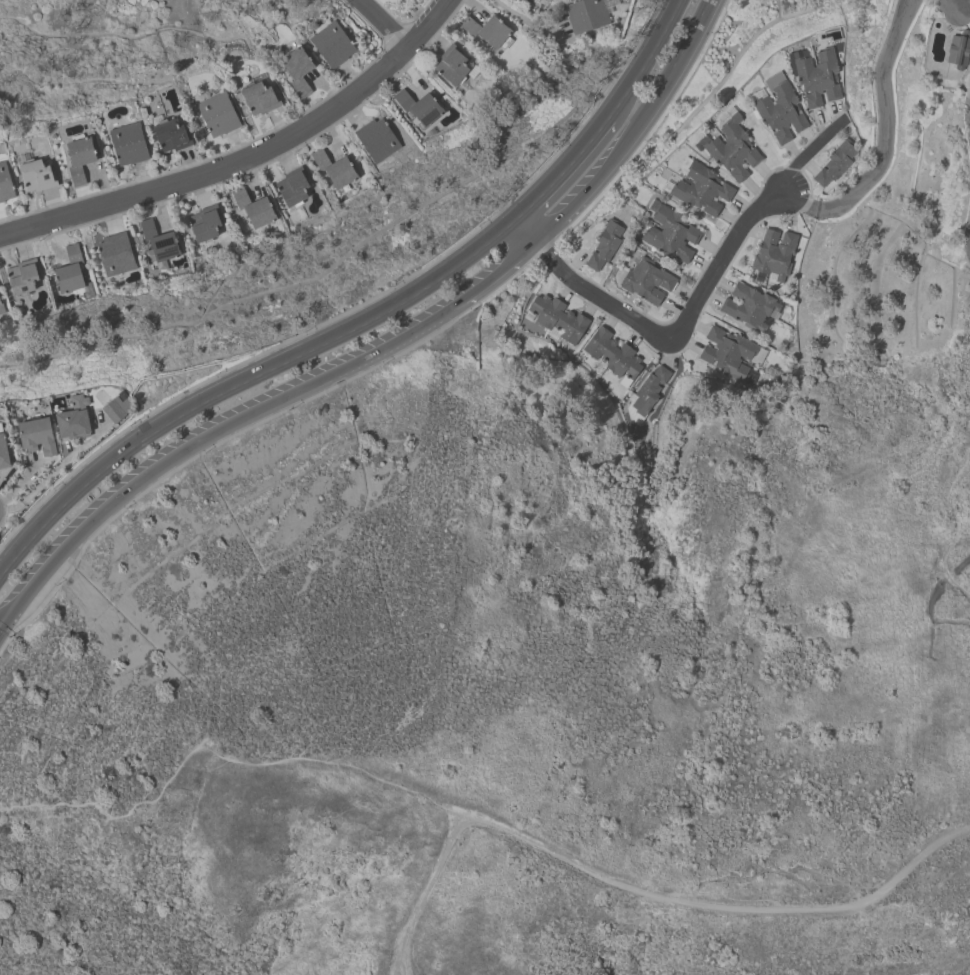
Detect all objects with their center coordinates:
building: (529, 1)
building: (586, 14)
road: (525, 21)
road: (382, 23)
building: (486, 30)
building: (331, 44)
building: (959, 48)
road: (648, 60)
building: (451, 64)
building: (296, 70)
building: (814, 74)
building: (259, 97)
building: (418, 106)
building: (779, 108)
building: (217, 114)
road: (633, 133)
building: (171, 134)
building: (376, 138)
road: (882, 141)
building: (127, 143)
building: (730, 148)
building: (79, 157)
road: (246, 158)
road: (803, 158)
building: (834, 163)
building: (334, 168)
road: (562, 173)
building: (37, 174)
building: (5, 183)
building: (292, 185)
building: (699, 189)
building: (253, 207)
building: (204, 223)
building: (669, 232)
building: (158, 240)
road: (969, 241)
building: (604, 244)
building: (115, 254)
building: (773, 256)
building: (70, 270)
road: (496, 274)
building: (22, 276)
building: (646, 280)
building: (0, 298)
building: (750, 306)
building: (1, 309)
building: (557, 318)
road: (655, 329)
building: (726, 349)
building: (611, 354)
road: (265, 373)
building: (648, 391)
building: (117, 407)
road: (248, 414)
building: (74, 418)
building: (37, 435)
building: (3, 452)
road: (54, 472)
road: (16, 557)
road: (25, 590)

